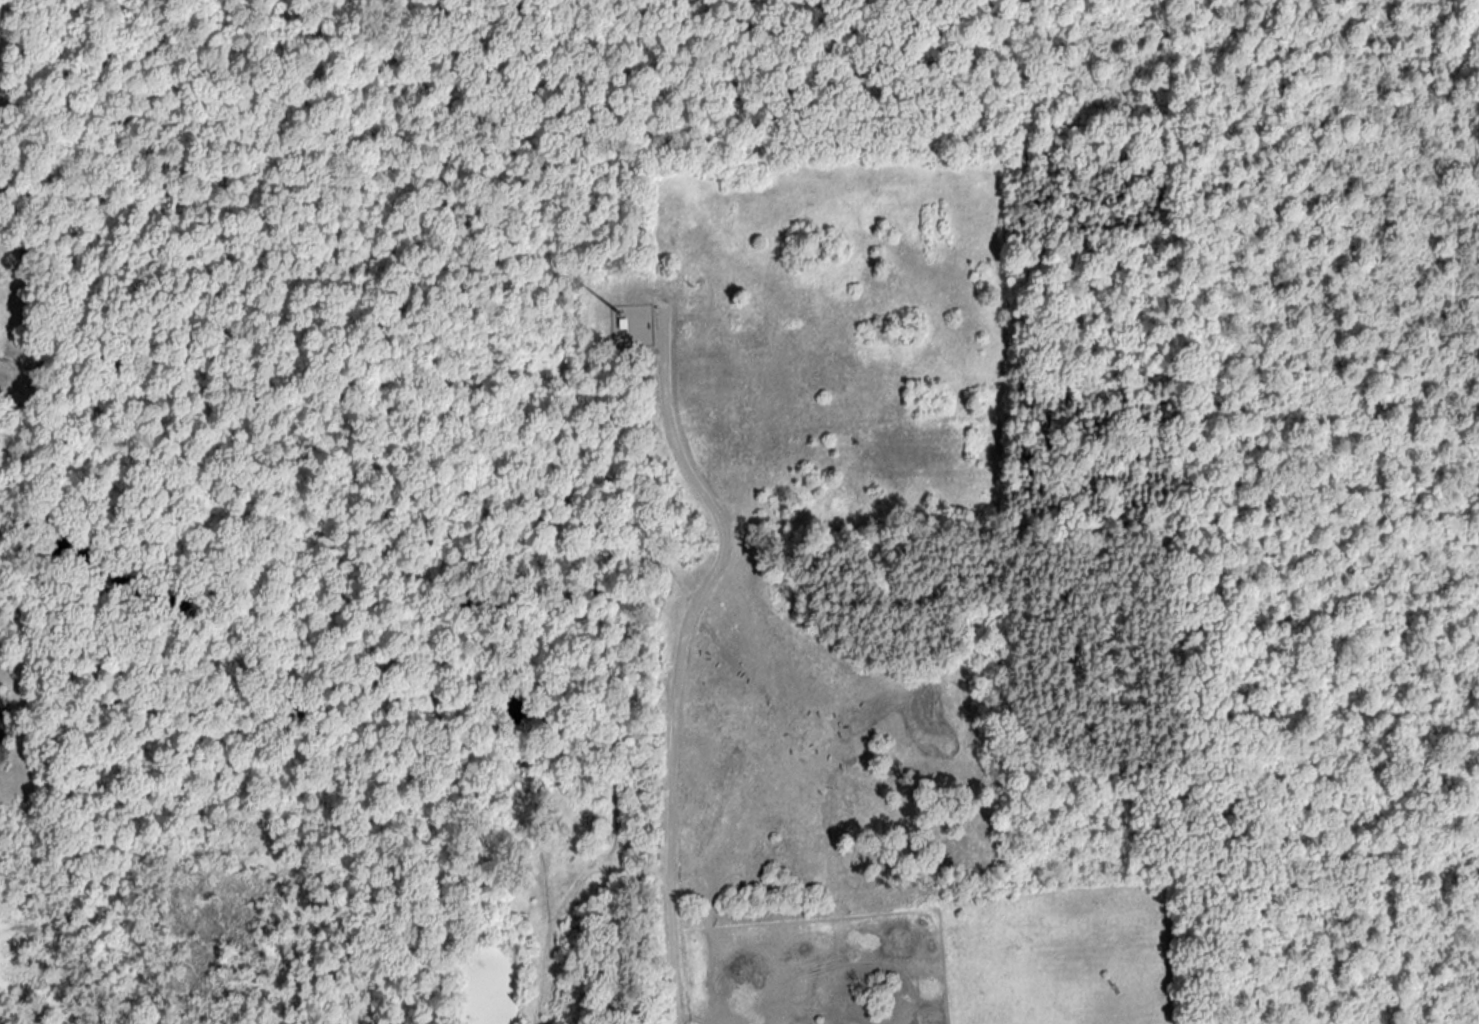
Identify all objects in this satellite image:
road: (686, 663)

